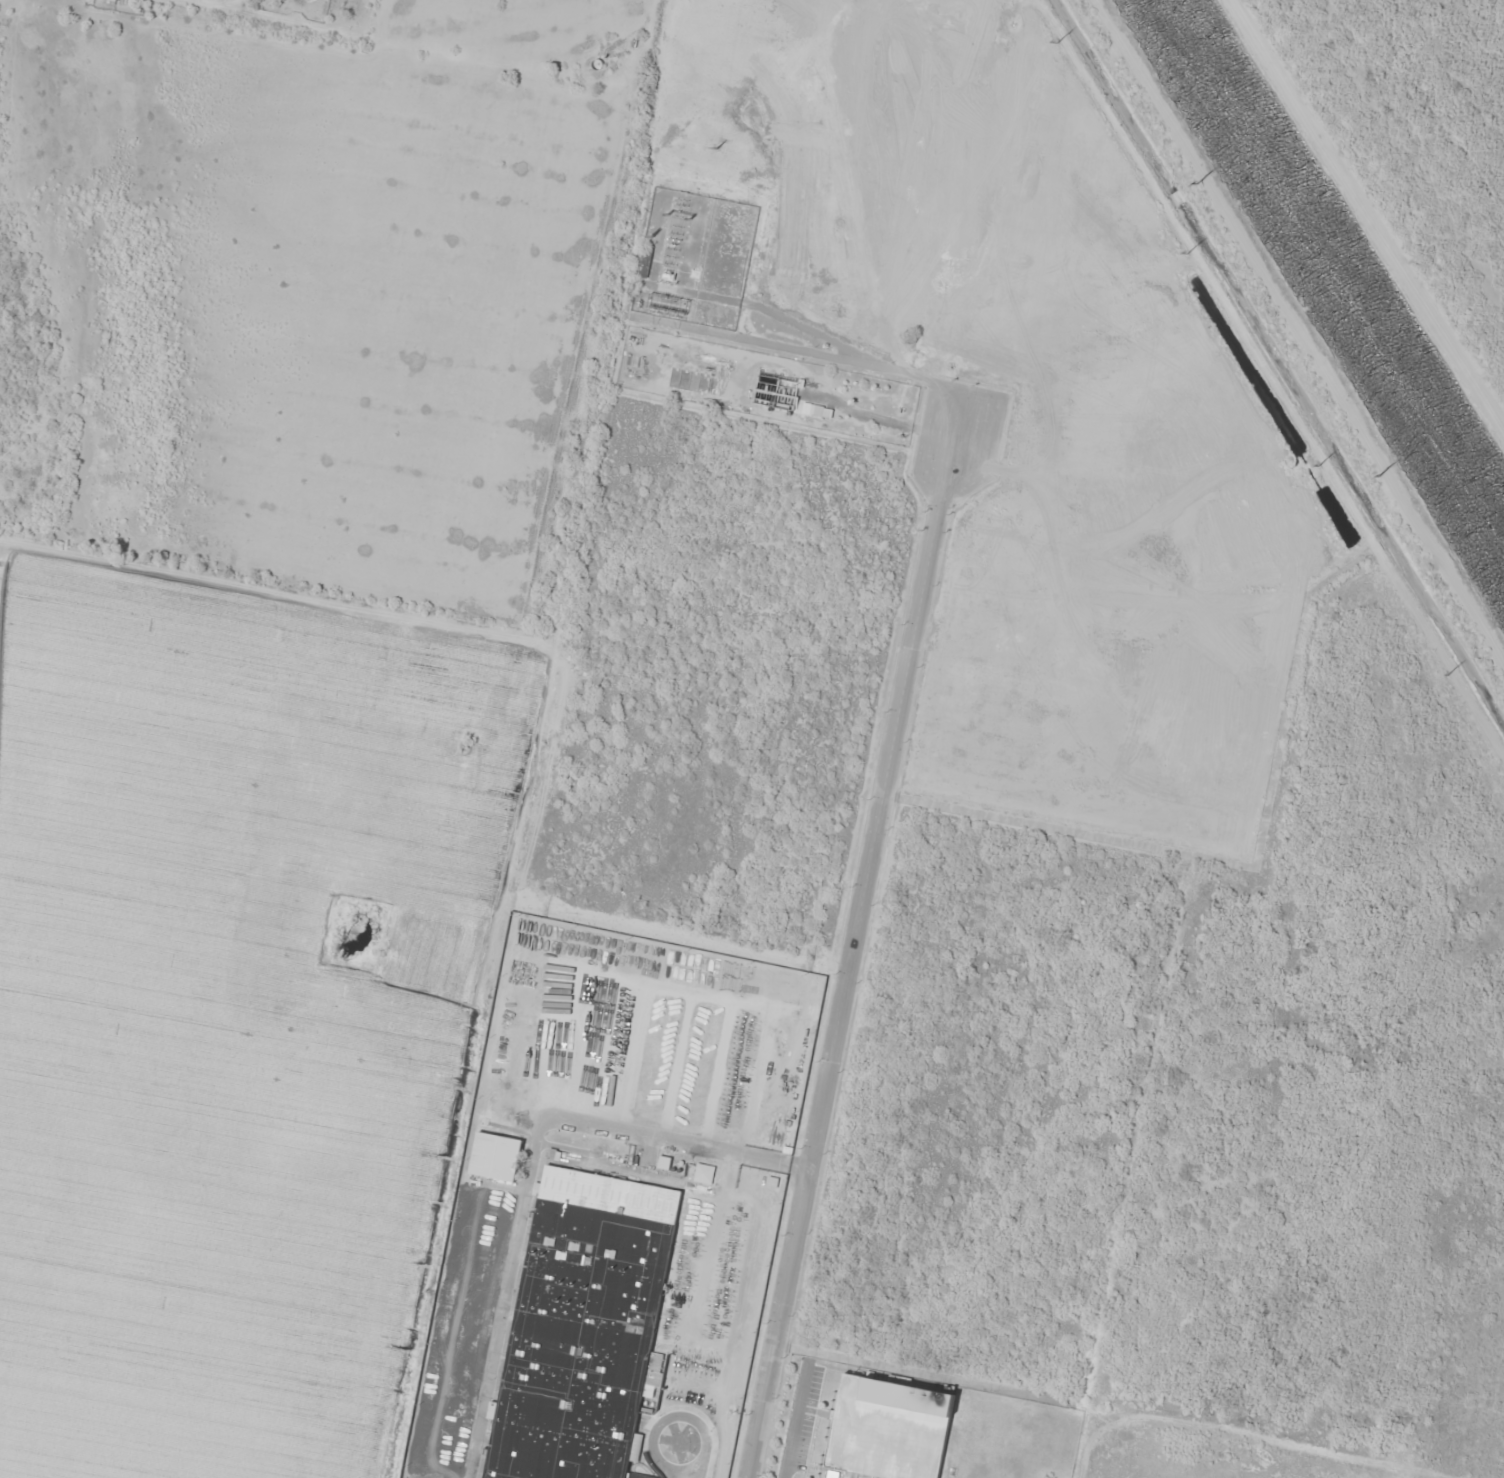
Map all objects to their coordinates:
park: (489, 34)
power tower: (1067, 41)
power tower: (735, 144)
power tower: (1190, 177)
power tower: (1197, 252)
power substation: (705, 256)
power tower: (1316, 464)
power tower: (1374, 470)
power tower: (1458, 672)

